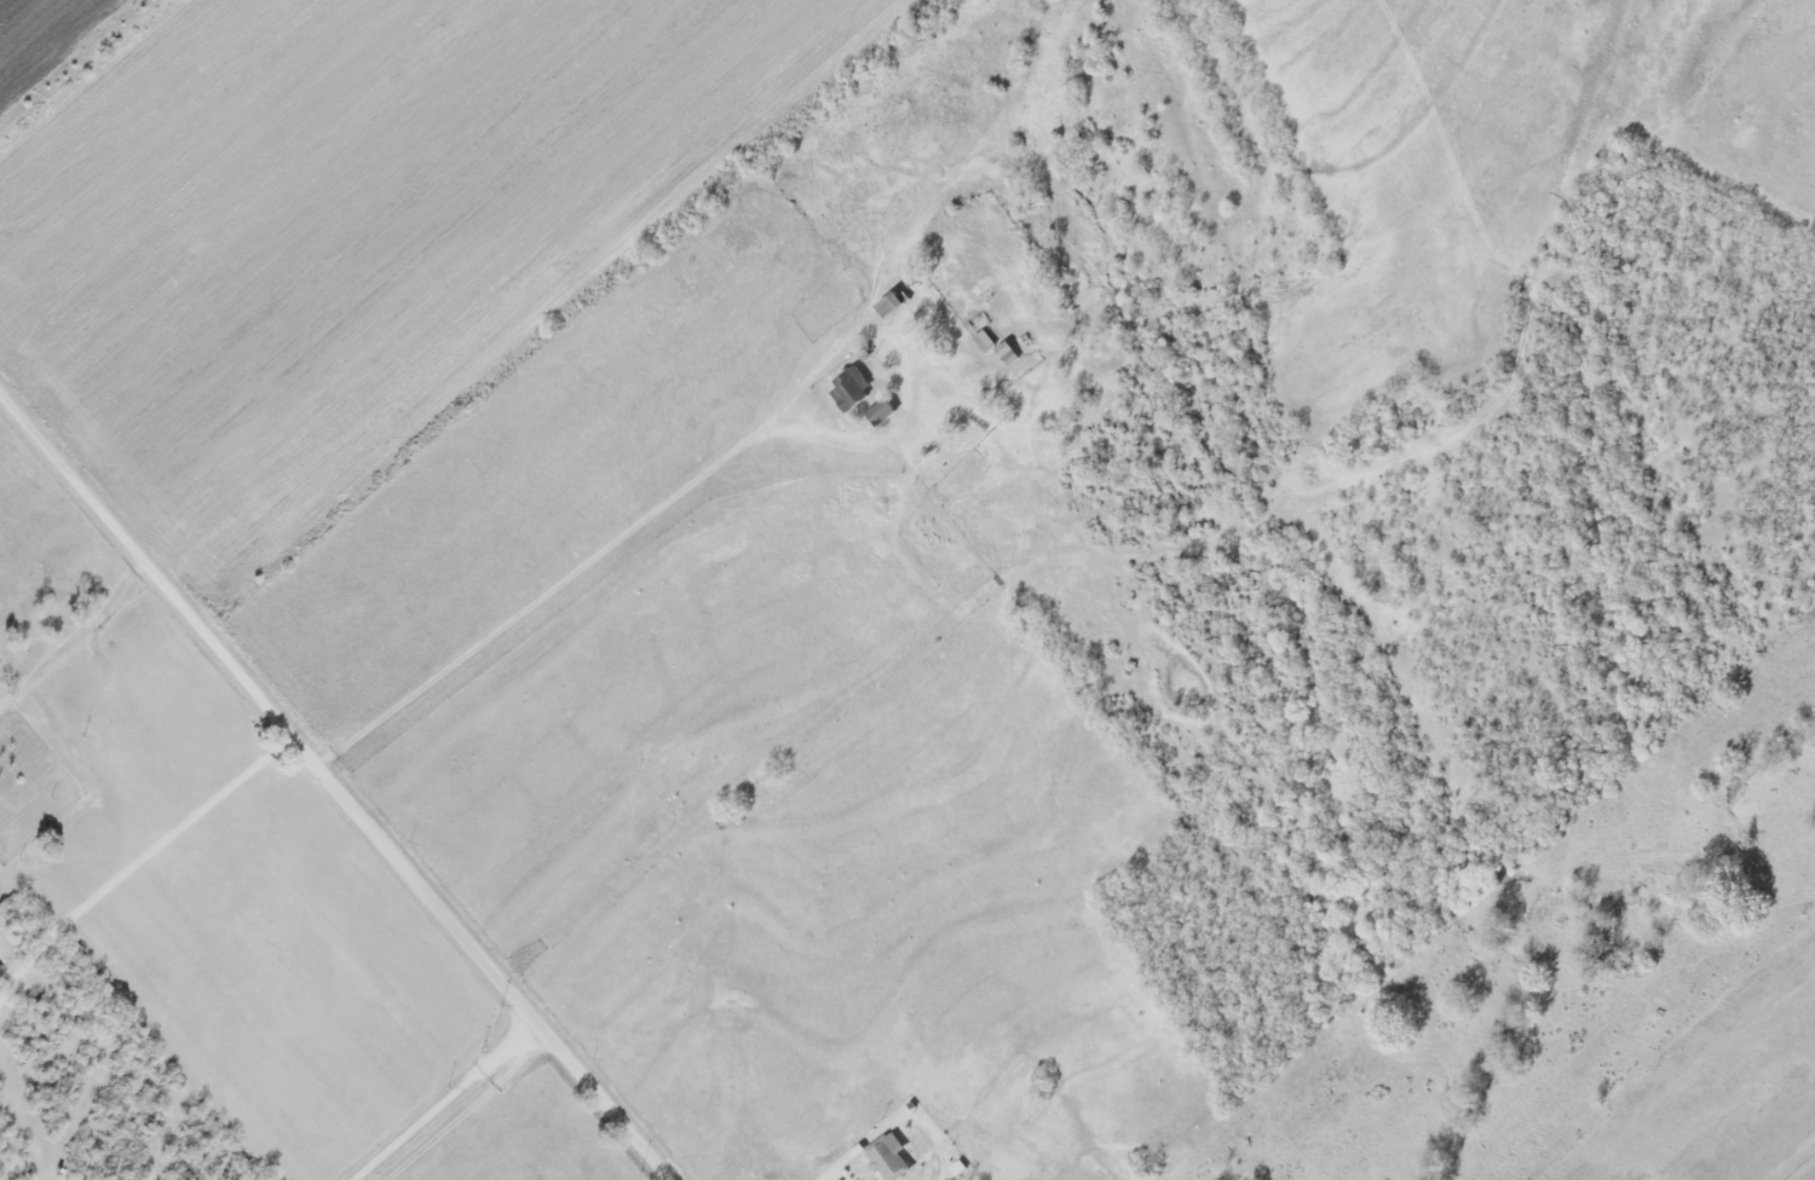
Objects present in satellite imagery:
building: (983, 341)
building: (848, 389)
road: (698, 479)
road: (76, 638)
road: (333, 788)
road: (136, 862)
building: (887, 1159)
road: (1799, 1167)
road: (829, 1178)

